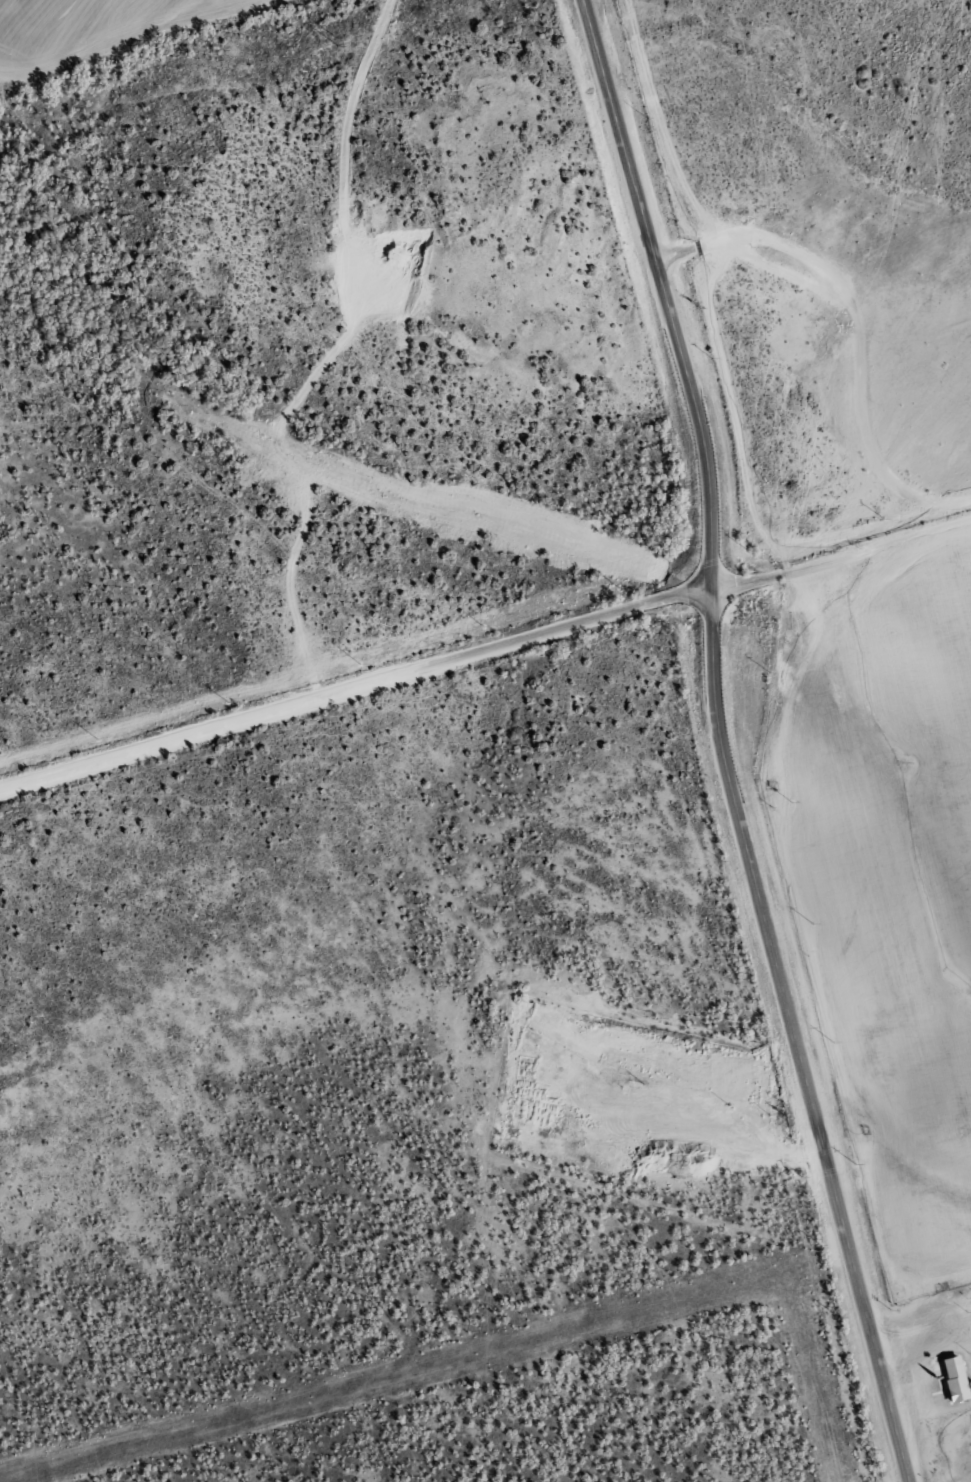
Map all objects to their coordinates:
power tower: (338, 41)
road: (355, 693)
road: (721, 744)
building: (953, 1377)

